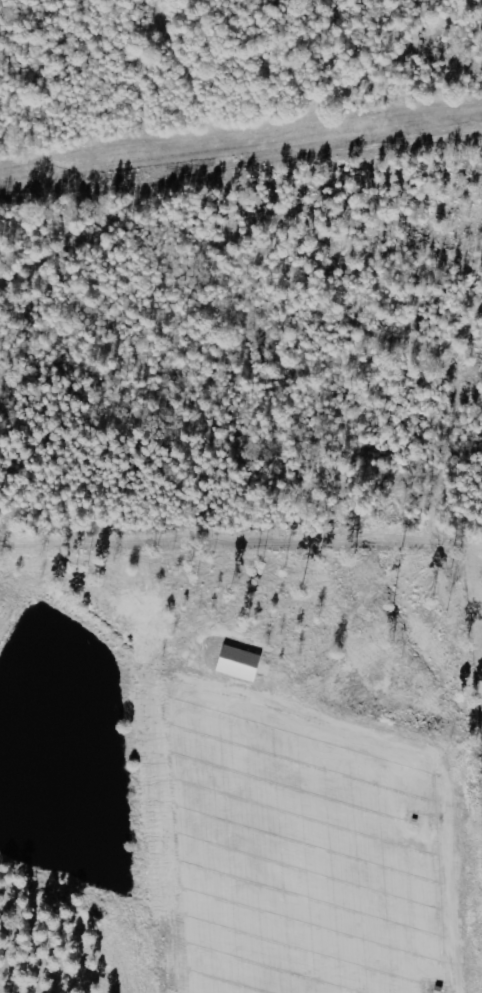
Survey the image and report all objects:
building: (243, 663)

